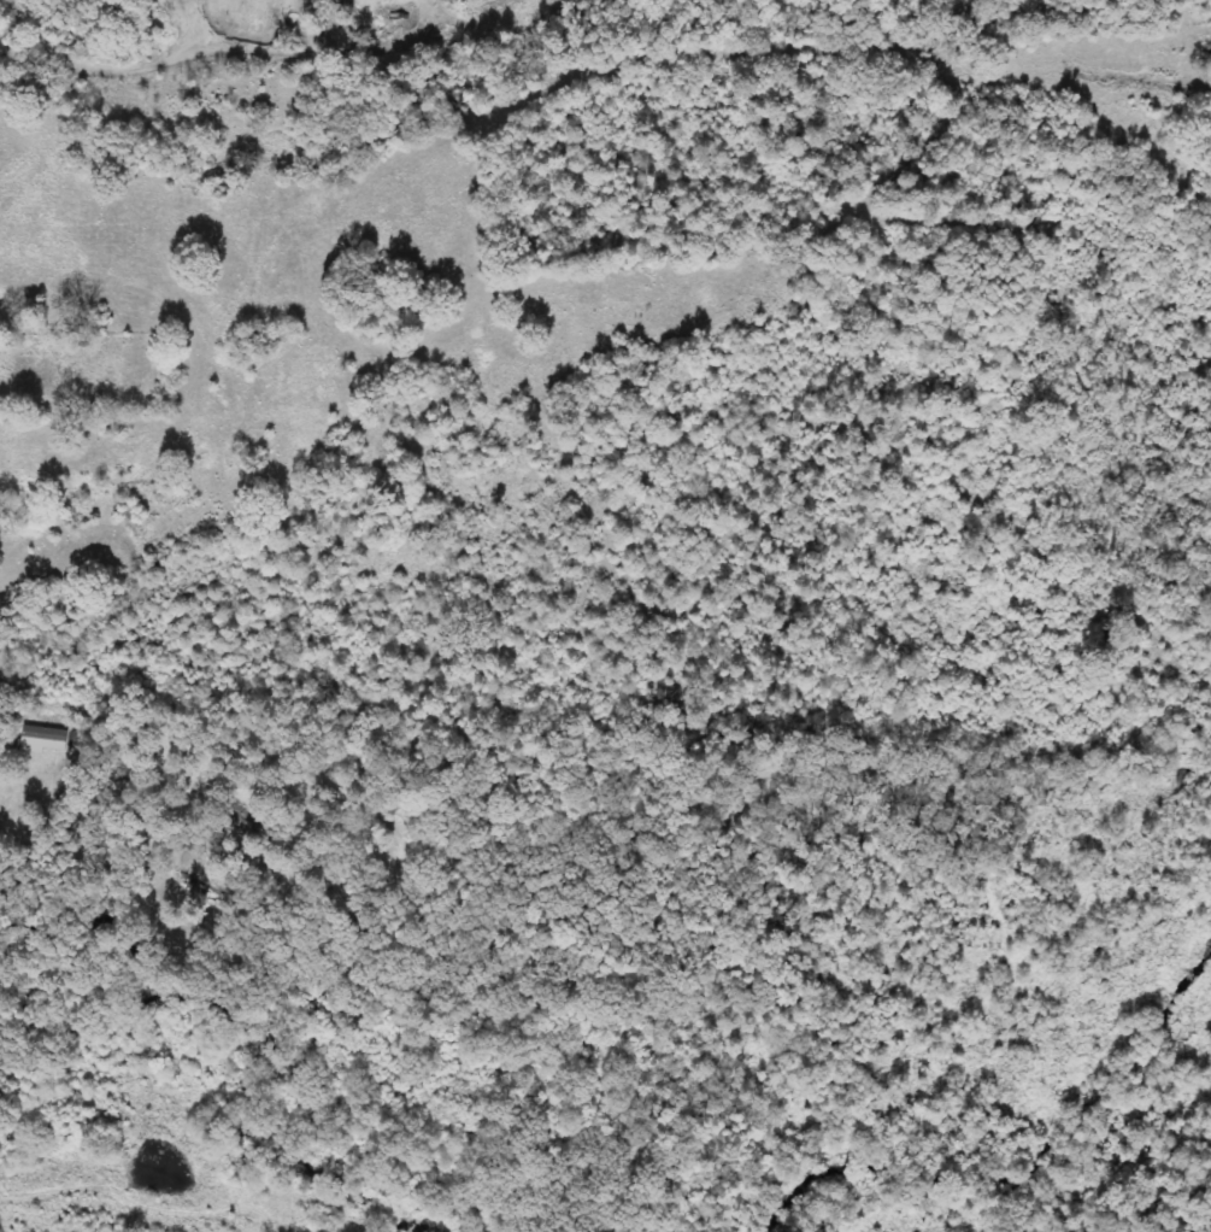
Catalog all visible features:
building: (40, 740)

